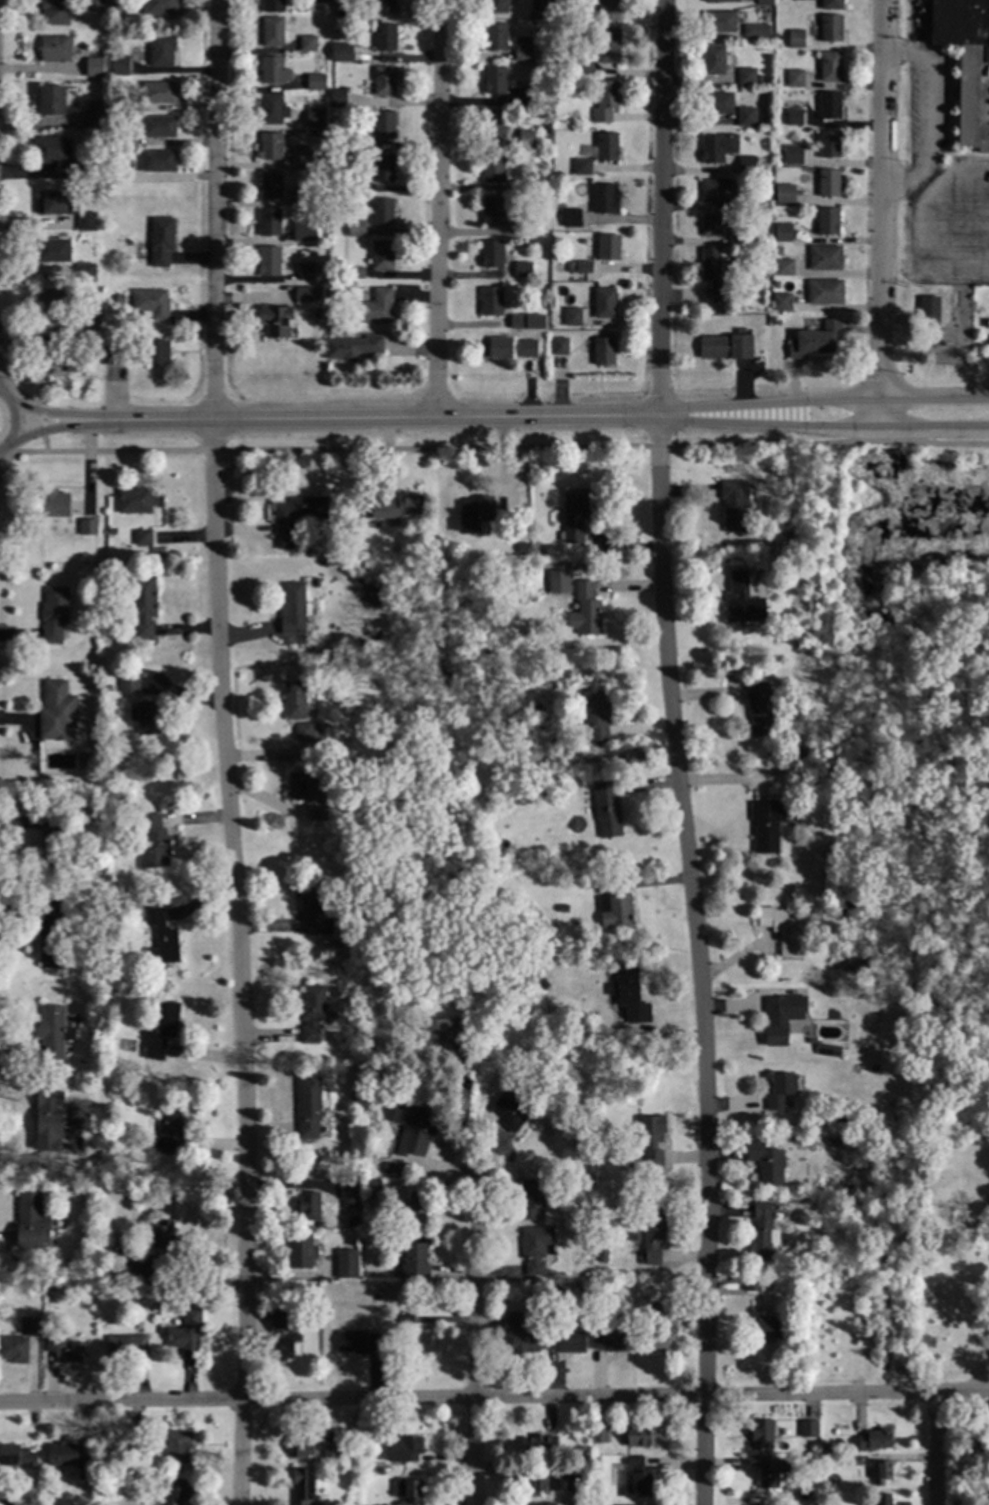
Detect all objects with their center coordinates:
building: (722, 0)
building: (318, 1)
building: (579, 1)
building: (341, 2)
building: (764, 2)
building: (122, 4)
building: (540, 4)
building: (831, 4)
building: (93, 5)
building: (273, 5)
building: (384, 6)
building: (497, 6)
building: (160, 7)
building: (609, 9)
building: (55, 10)
building: (719, 20)
road: (883, 21)
building: (334, 24)
building: (831, 27)
building: (752, 29)
building: (273, 31)
building: (496, 35)
building: (385, 36)
building: (796, 38)
building: (308, 42)
building: (608, 44)
building: (56, 47)
building: (524, 47)
building: (162, 49)
building: (340, 52)
building: (358, 54)
building: (714, 58)
building: (967, 63)
building: (120, 64)
building: (584, 64)
building: (94, 66)
building: (830, 66)
building: (275, 69)
building: (747, 75)
building: (795, 77)
building: (495, 79)
building: (316, 80)
building: (385, 80)
building: (160, 92)
building: (526, 94)
building: (339, 98)
building: (52, 99)
building: (606, 100)
building: (717, 102)
building: (118, 103)
building: (830, 104)
building: (273, 107)
road: (932, 112)
building: (93, 114)
building: (794, 115)
building: (527, 116)
building: (747, 116)
building: (315, 117)
building: (494, 122)
building: (384, 123)
building: (159, 126)
building: (343, 134)
building: (118, 136)
building: (526, 139)
building: (830, 143)
building: (271, 145)
building: (606, 146)
building: (718, 147)
building: (54, 149)
building: (303, 155)
building: (797, 156)
building: (158, 160)
building: (747, 163)
building: (493, 165)
building: (383, 166)
building: (583, 166)
building: (803, 168)
building: (85, 169)
building: (560, 169)
building: (118, 171)
building: (767, 180)
building: (829, 182)
building: (271, 183)
building: (522, 183)
building: (355, 184)
building: (717, 189)
building: (785, 192)
building: (301, 195)
building: (605, 197)
building: (760, 198)
building: (55, 201)
road: (438, 209)
building: (492, 210)
building: (383, 211)
building: (318, 214)
building: (572, 216)
building: (86, 220)
building: (826, 221)
building: (270, 222)
building: (718, 223)
building: (522, 226)
building: (356, 227)
building: (784, 231)
building: (303, 232)
building: (753, 232)
road: (881, 235)
building: (162, 240)
building: (609, 245)
building: (53, 249)
building: (766, 250)
building: (778, 250)
building: (492, 253)
building: (382, 255)
building: (826, 256)
building: (270, 260)
building: (571, 266)
building: (585, 266)
building: (783, 267)
building: (523, 268)
building: (764, 268)
building: (307, 270)
building: (85, 271)
building: (712, 271)
building: (356, 272)
building: (331, 275)
building: (776, 283)
building: (825, 291)
building: (304, 293)
building: (928, 296)
building: (119, 297)
building: (782, 300)
building: (491, 301)
building: (152, 302)
building: (605, 302)
building: (52, 303)
building: (377, 306)
building: (317, 313)
building: (573, 316)
building: (276, 319)
building: (89, 320)
building: (519, 321)
building: (778, 321)
building: (816, 339)
building: (727, 344)
building: (560, 345)
building: (353, 346)
building: (500, 346)
building: (529, 347)
building: (49, 349)
building: (604, 350)
building: (156, 351)
building: (118, 354)
building: (73, 365)
road: (823, 402)
road: (38, 403)
road: (52, 413)
road: (377, 419)
road: (15, 420)
road: (53, 425)
road: (823, 426)
road: (489, 447)
building: (135, 500)
building: (54, 502)
building: (734, 504)
building: (401, 505)
building: (299, 511)
building: (475, 512)
building: (574, 517)
building: (88, 526)
building: (110, 530)
building: (143, 537)
building: (283, 544)
building: (309, 552)
building: (316, 581)
building: (742, 599)
building: (143, 606)
building: (293, 608)
building: (586, 609)
building: (54, 613)
building: (467, 634)
building: (457, 636)
building: (350, 643)
building: (129, 683)
building: (972, 684)
building: (109, 687)
building: (295, 699)
building: (57, 707)
building: (759, 708)
building: (596, 713)
building: (147, 716)
building: (307, 732)
building: (810, 751)
road: (222, 752)
road: (675, 752)
building: (801, 752)
building: (82, 760)
building: (328, 767)
building: (804, 772)
building: (475, 790)
building: (306, 793)
building: (116, 808)
building: (607, 808)
building: (767, 823)
building: (53, 839)
building: (153, 842)
building: (566, 880)
building: (986, 887)
building: (612, 902)
building: (312, 905)
building: (563, 907)
building: (845, 907)
building: (351, 926)
building: (783, 929)
building: (52, 932)
building: (161, 937)
building: (856, 961)
building: (342, 969)
building: (113, 990)
building: (627, 991)
building: (312, 1012)
building: (779, 1016)
building: (161, 1028)
building: (53, 1030)
building: (441, 1030)
building: (811, 1040)
building: (826, 1050)
building: (562, 1056)
building: (874, 1067)
building: (466, 1071)
building: (780, 1089)
building: (354, 1097)
building: (509, 1105)
building: (308, 1106)
building: (49, 1118)
building: (78, 1124)
building: (413, 1126)
building: (169, 1128)
building: (828, 1135)
building: (651, 1137)
building: (631, 1161)
building: (766, 1161)
road: (29, 1164)
building: (390, 1168)
building: (100, 1170)
building: (584, 1180)
building: (373, 1188)
building: (349, 1189)
building: (530, 1198)
building: (803, 1198)
building: (309, 1205)
building: (416, 1209)
building: (352, 1220)
building: (31, 1222)
building: (762, 1232)
building: (162, 1234)
building: (635, 1235)
building: (653, 1236)
building: (536, 1247)
building: (301, 1251)
building: (410, 1258)
building: (127, 1263)
building: (347, 1263)
building: (583, 1270)
building: (770, 1280)
building: (752, 1282)
building: (564, 1285)
building: (376, 1295)
building: (166, 1299)
building: (406, 1317)
building: (30, 1326)
building: (769, 1328)
building: (660, 1329)
building: (187, 1332)
building: (282, 1334)
building: (521, 1335)
building: (611, 1340)
building: (358, 1341)
road: (473, 1341)
building: (565, 1341)
building: (422, 1342)
building: (126, 1344)
building: (14, 1348)
building: (64, 1348)
road: (494, 1396)
building: (809, 1428)
building: (761, 1432)
building: (599, 1433)
building: (642, 1435)
building: (875, 1438)
building: (177, 1445)
building: (538, 1445)
building: (302, 1446)
road: (935, 1448)
building: (404, 1449)
building: (135, 1452)
building: (331, 1453)
building: (17, 1456)
building: (67, 1457)
building: (364, 1457)
building: (854, 1460)
building: (769, 1469)
building: (882, 1470)
building: (381, 1471)
building: (542, 1479)
building: (638, 1479)
building: (570, 1482)
building: (303, 1486)
building: (407, 1490)
building: (176, 1491)
building: (882, 1499)
building: (7, 1502)
building: (815, 1502)
building: (106, 1504)
building: (822, 1504)

